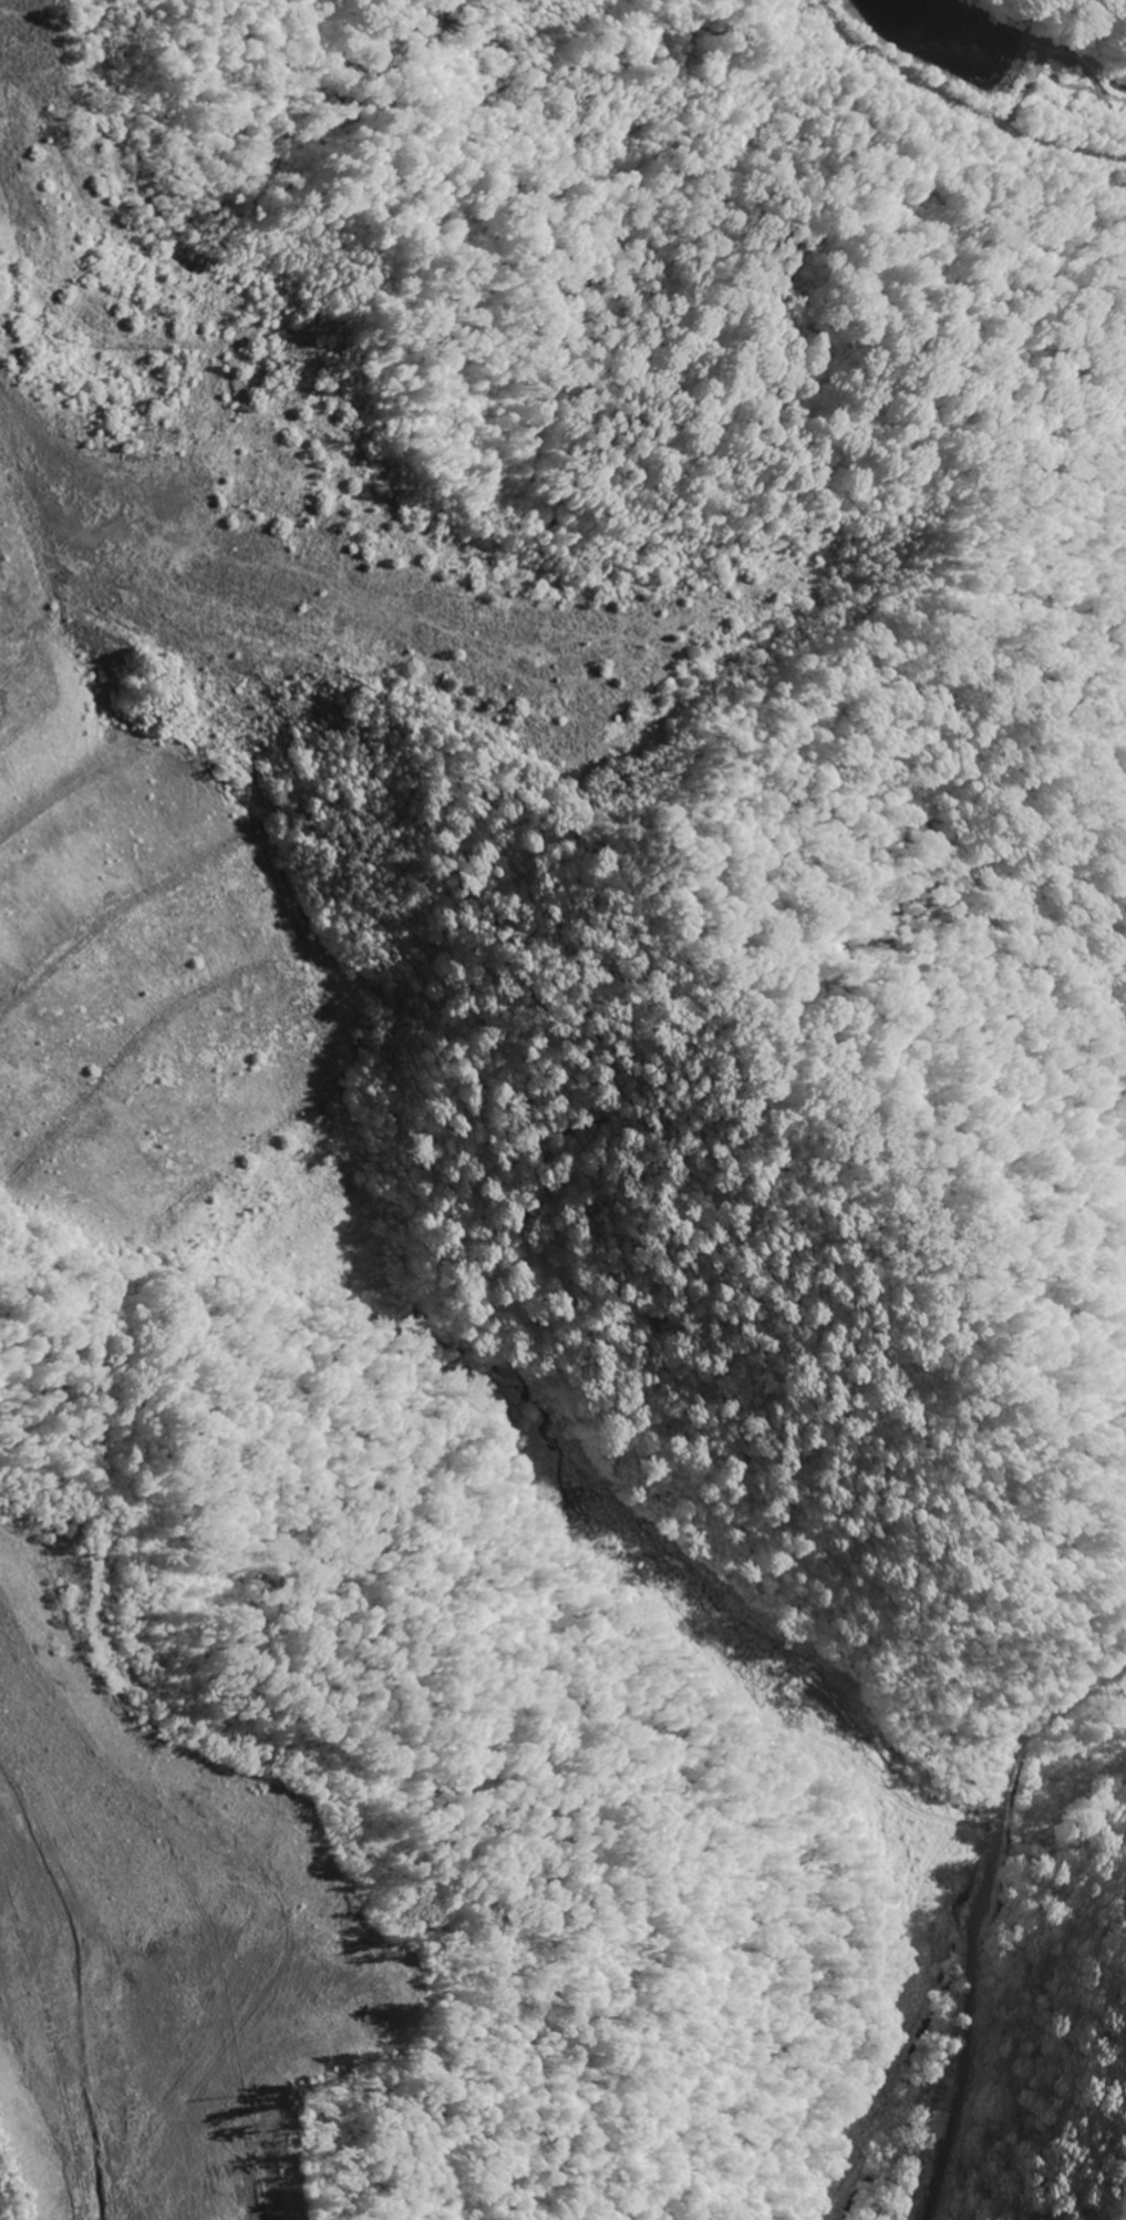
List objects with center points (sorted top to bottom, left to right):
road: (1110, 156)
road: (980, 1916)

